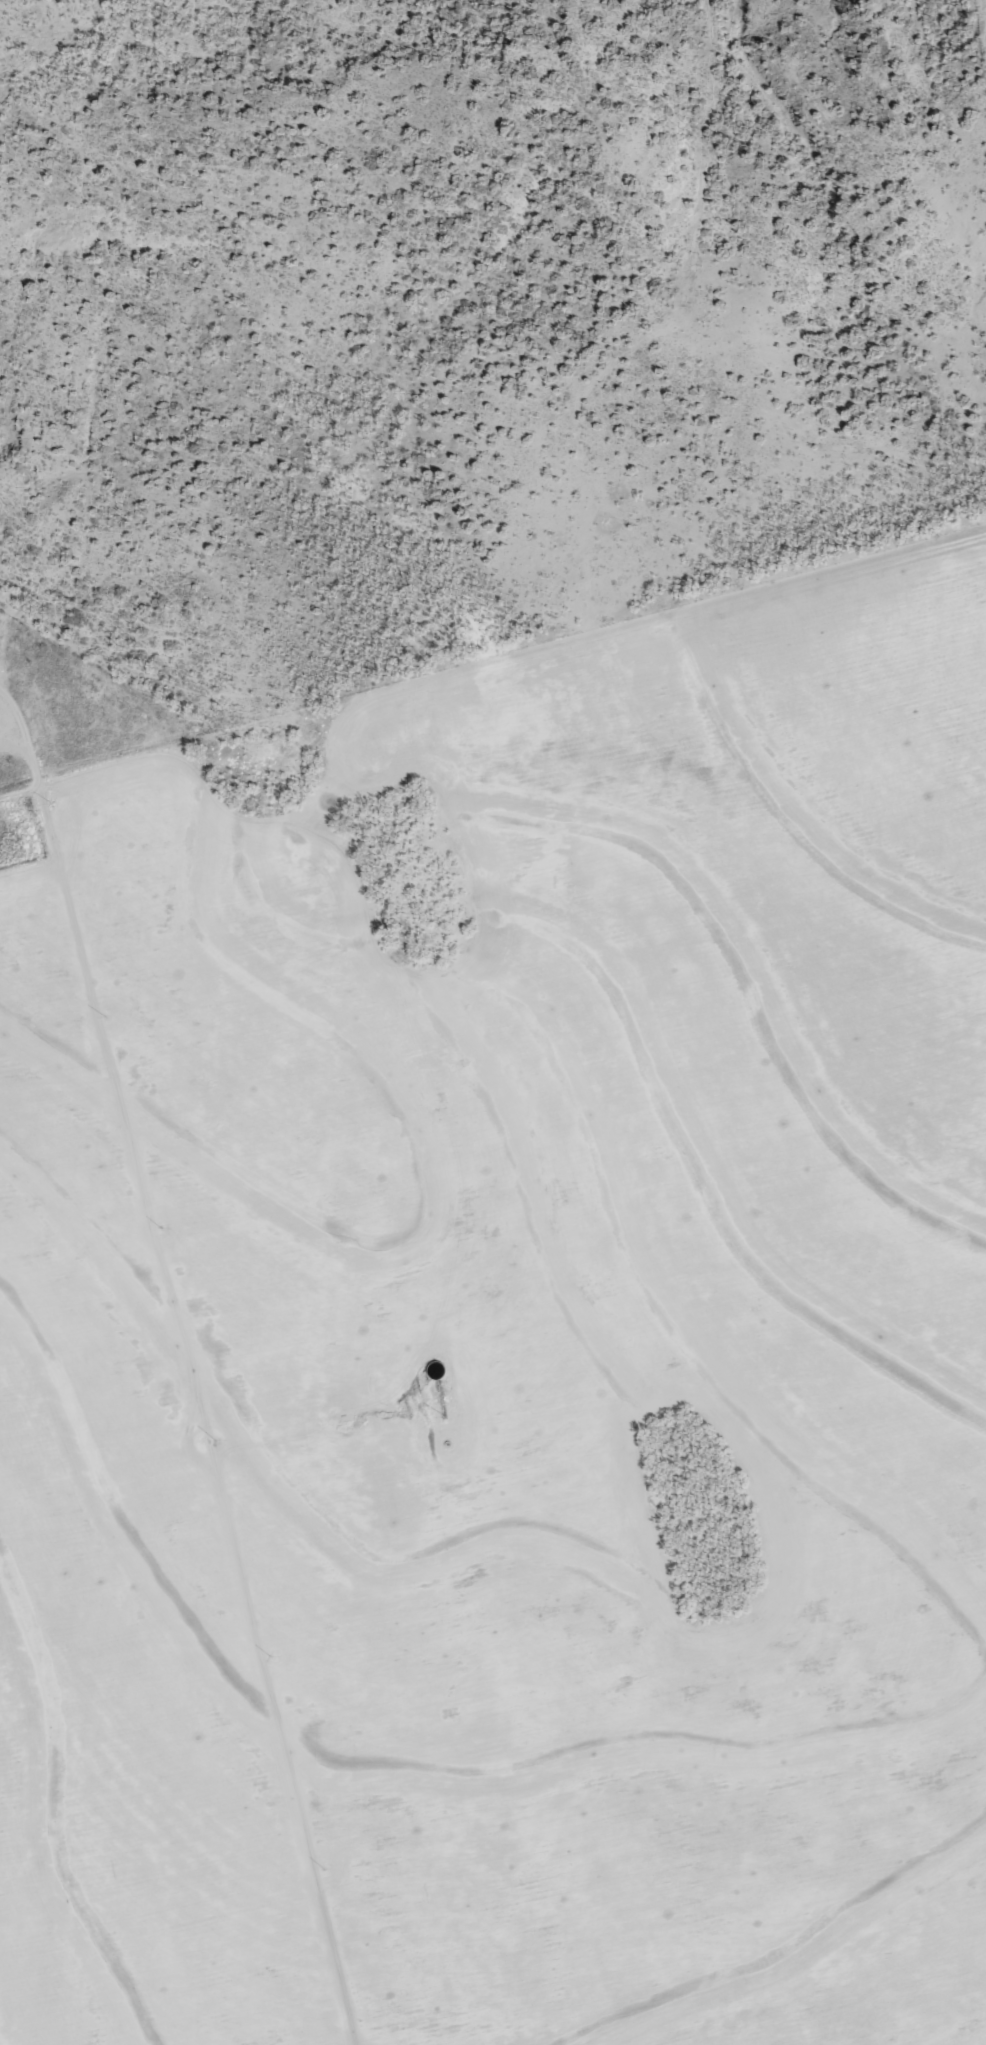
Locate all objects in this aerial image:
road: (459, 687)

